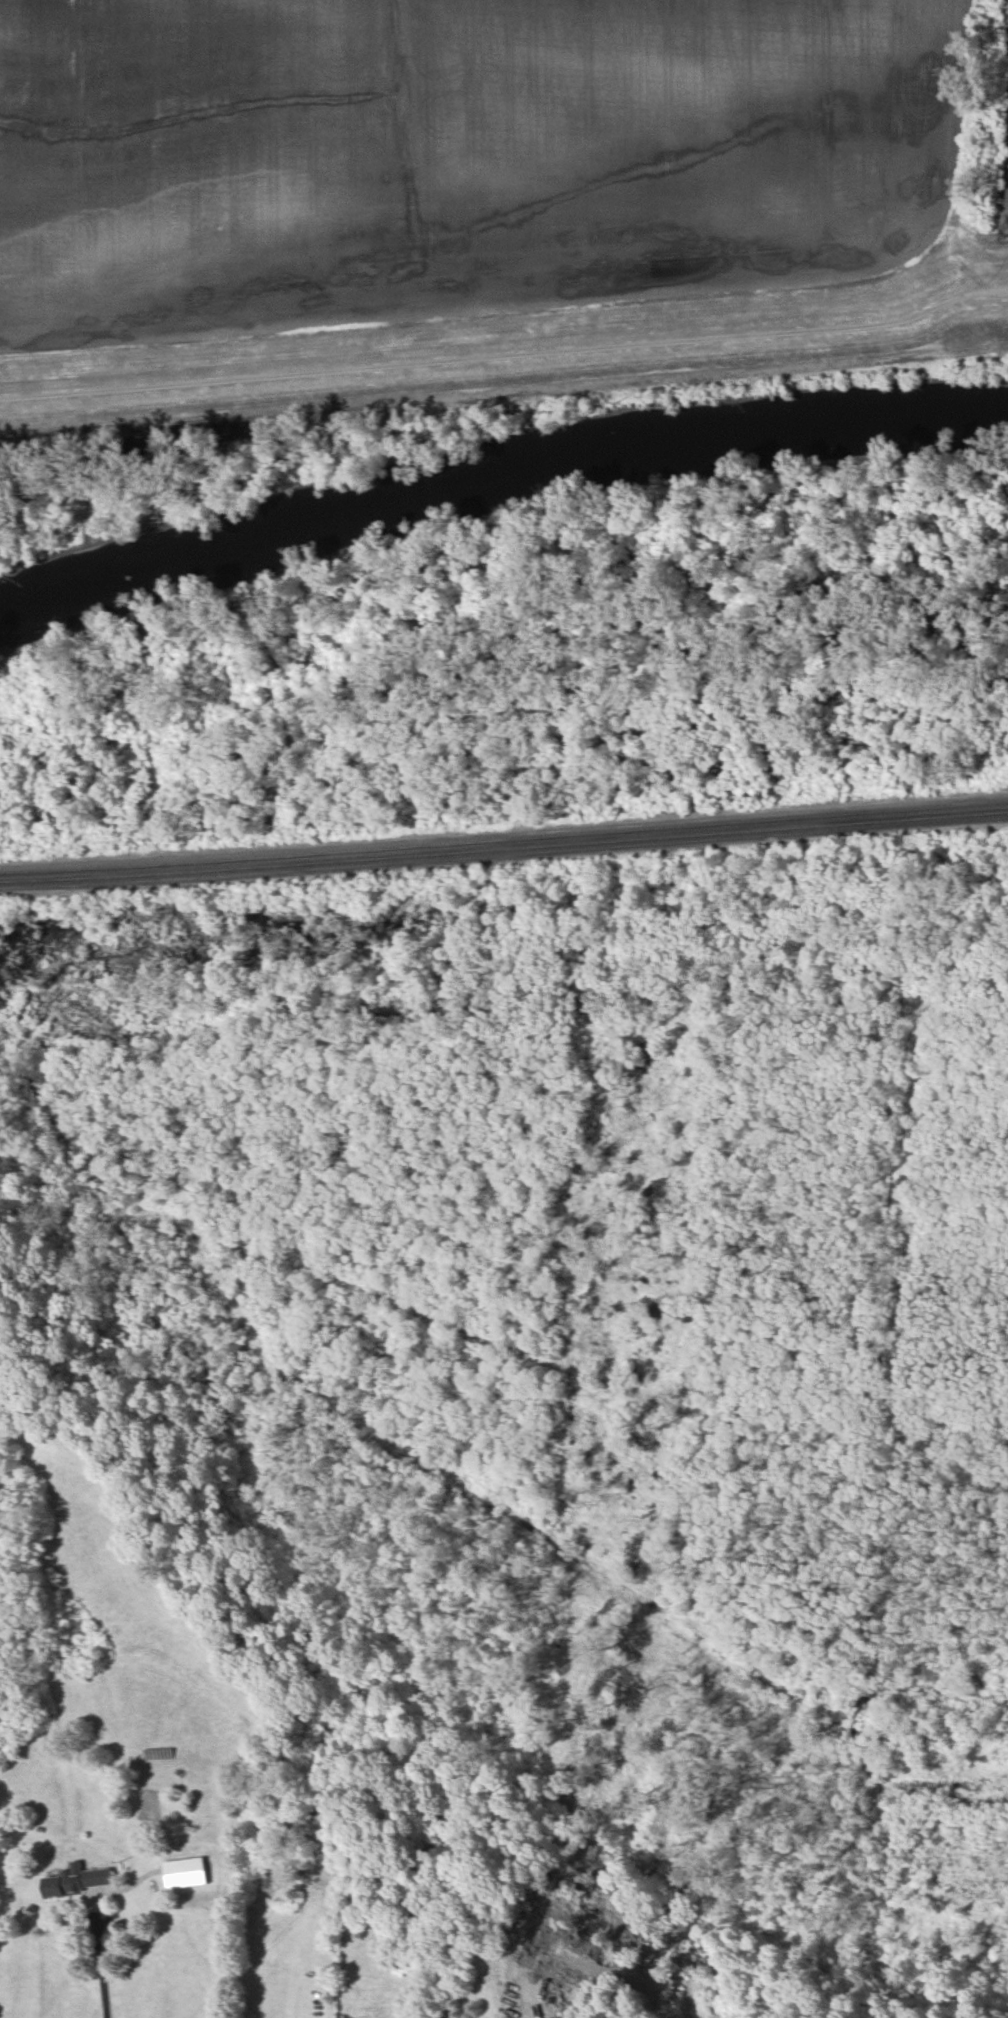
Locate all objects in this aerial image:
crop: (458, 154)
road: (506, 352)
river: (498, 481)
railway: (504, 831)
railway: (504, 840)
building: (185, 1872)
building: (79, 1879)
road: (95, 1955)

